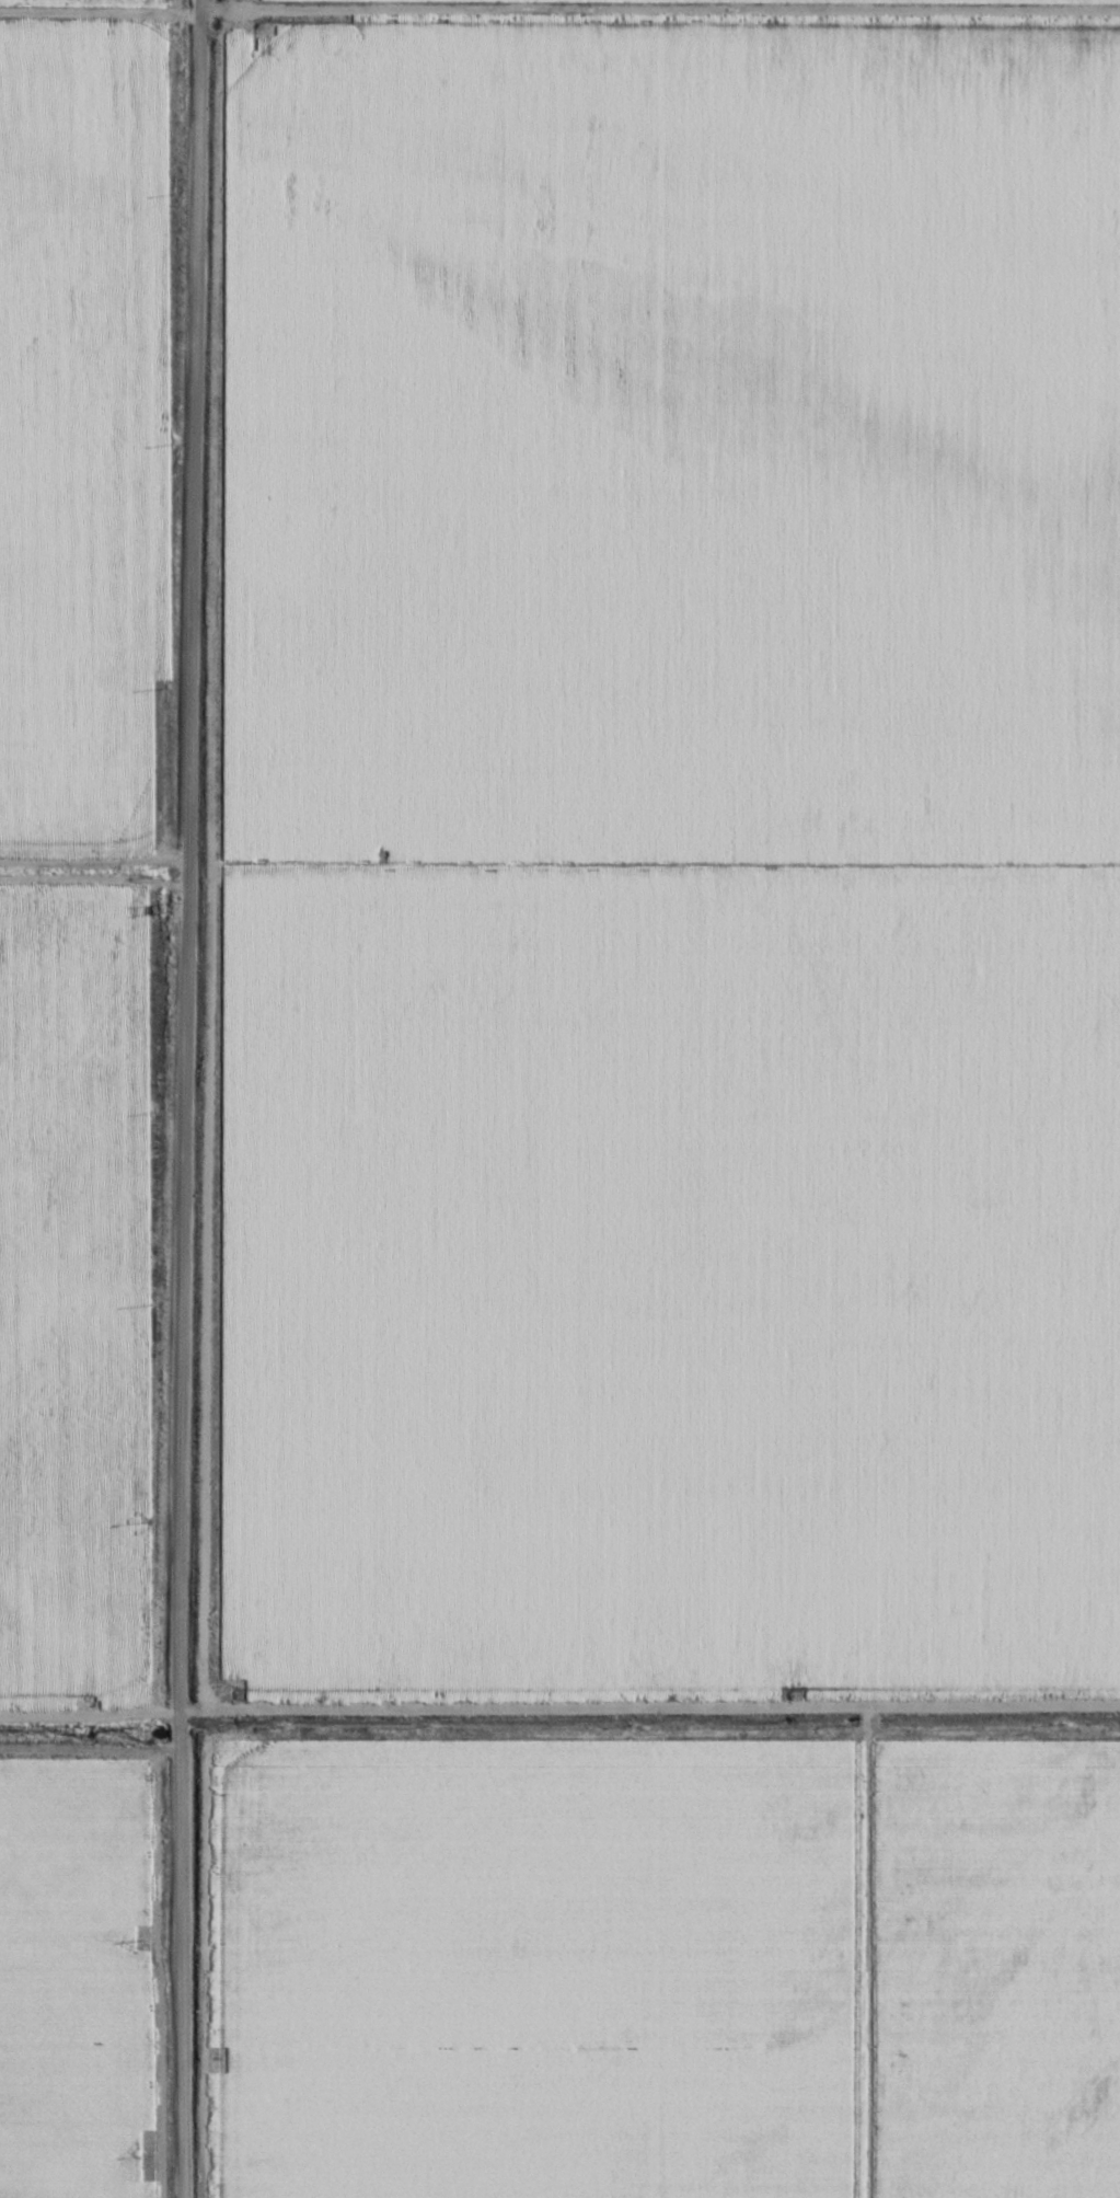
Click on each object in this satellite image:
road: (559, 4)
road: (181, 1098)
road: (648, 1712)

